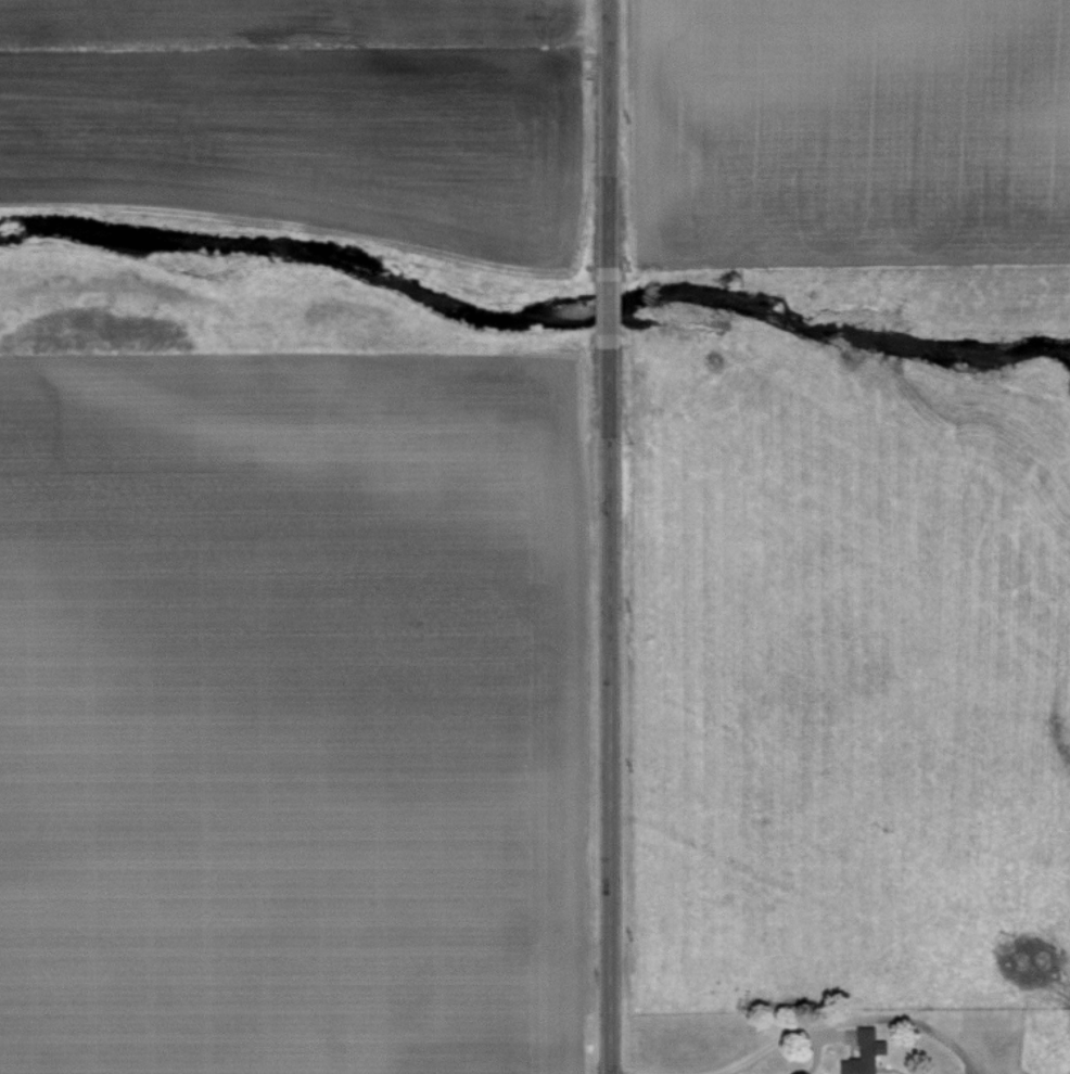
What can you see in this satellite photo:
road: (609, 131)
road: (608, 306)
road: (608, 711)
road: (853, 1019)
building: (871, 1054)

